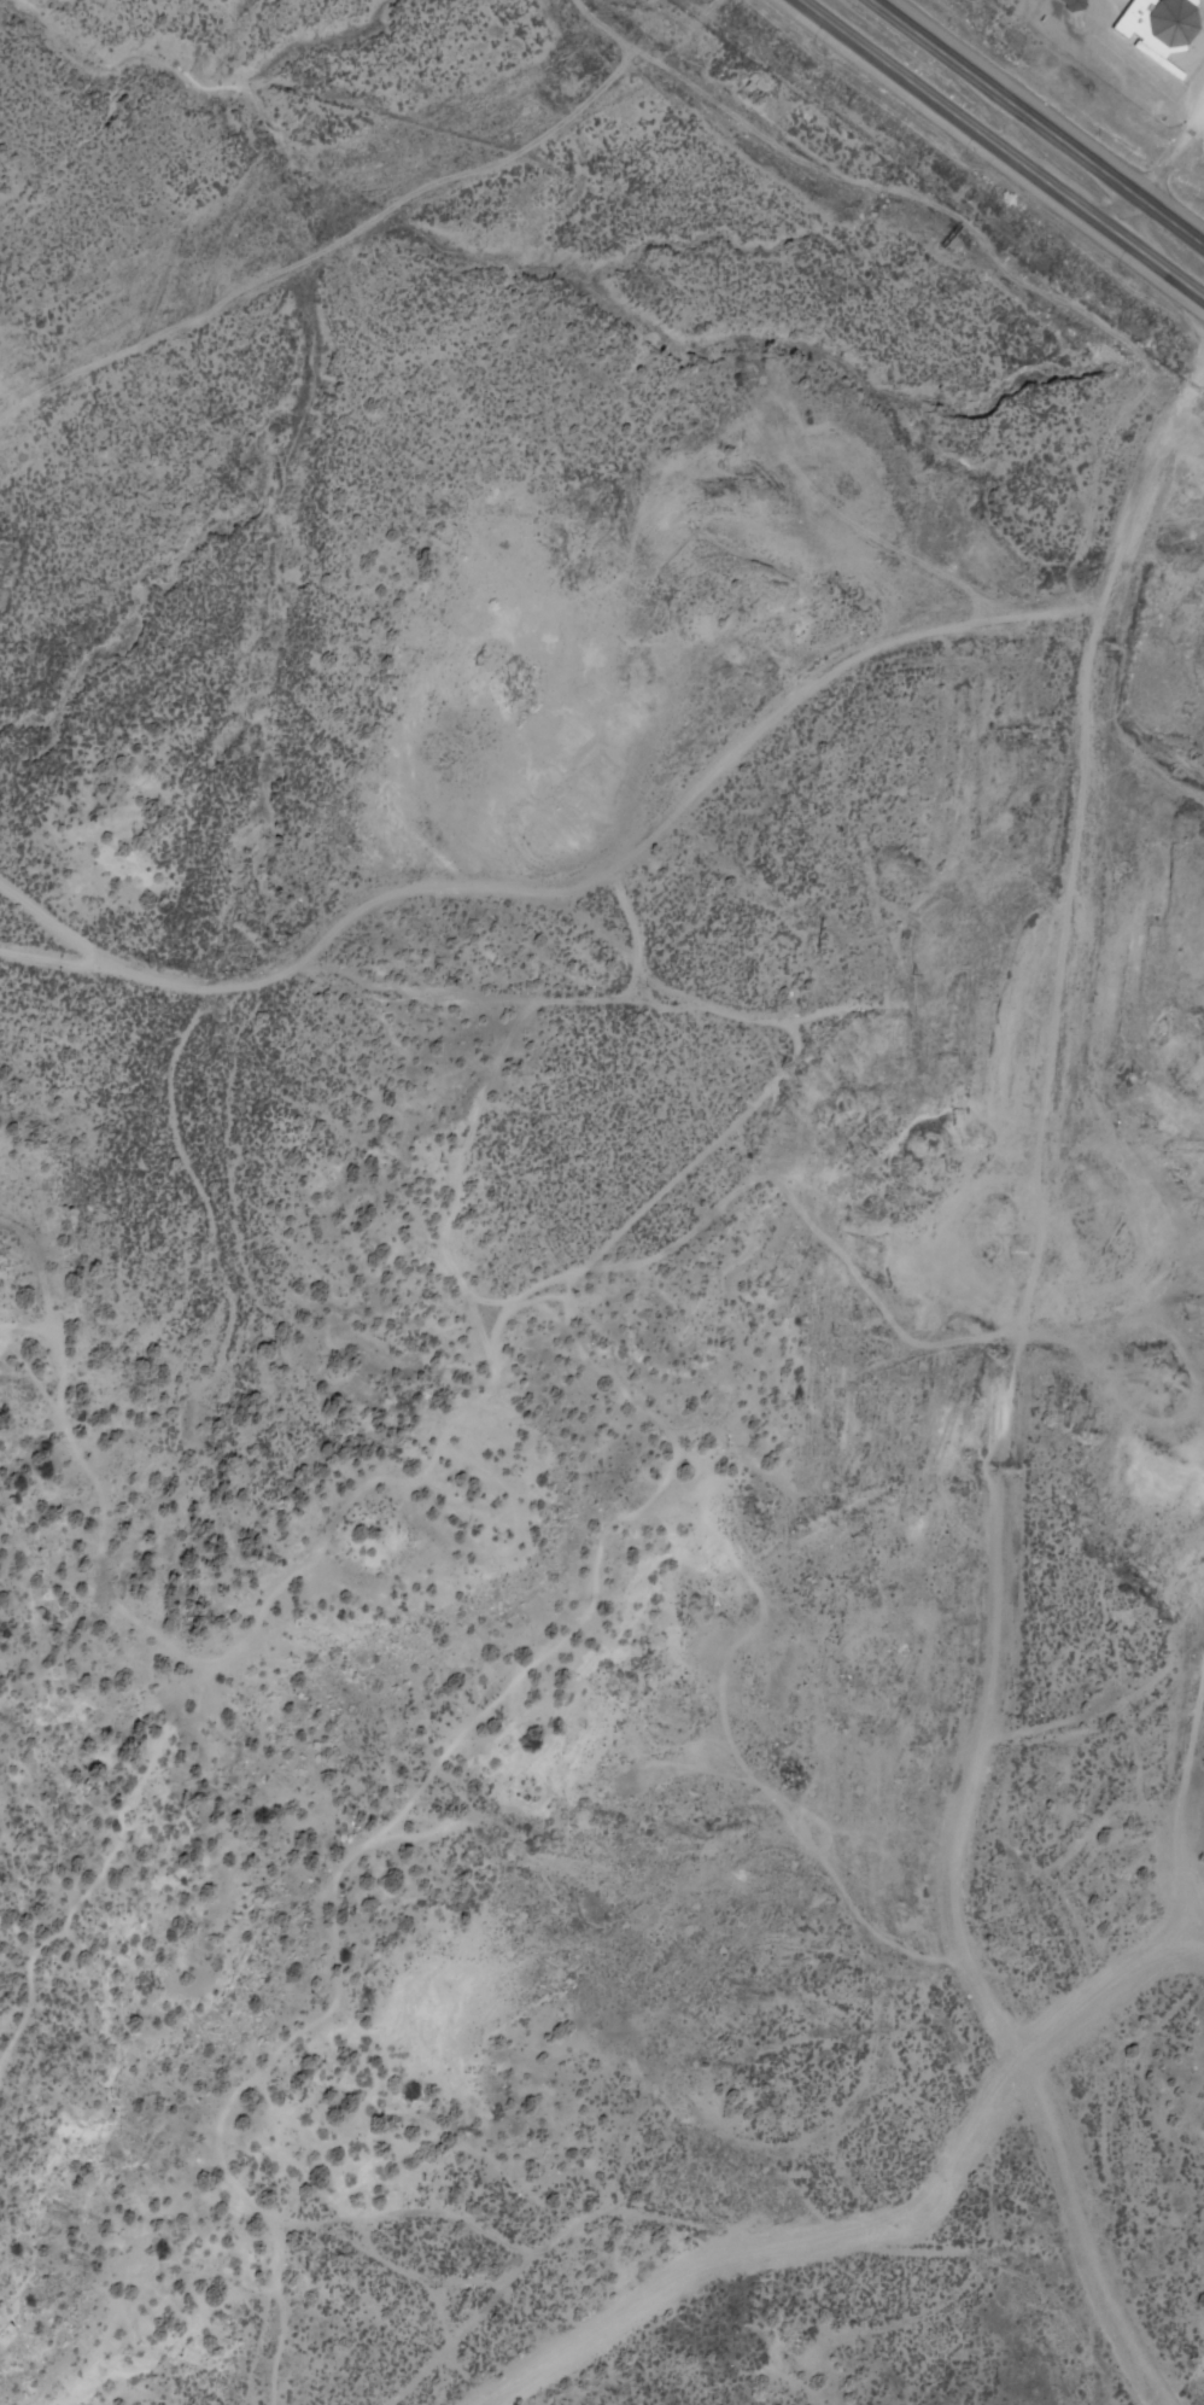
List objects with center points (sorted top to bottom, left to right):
building: (1180, 22)
road: (1036, 122)
road: (1001, 148)
power tower: (473, 659)
road: (807, 687)
road: (1089, 760)
power tower: (816, 941)
road: (280, 967)
road: (816, 1021)
road: (970, 1804)

